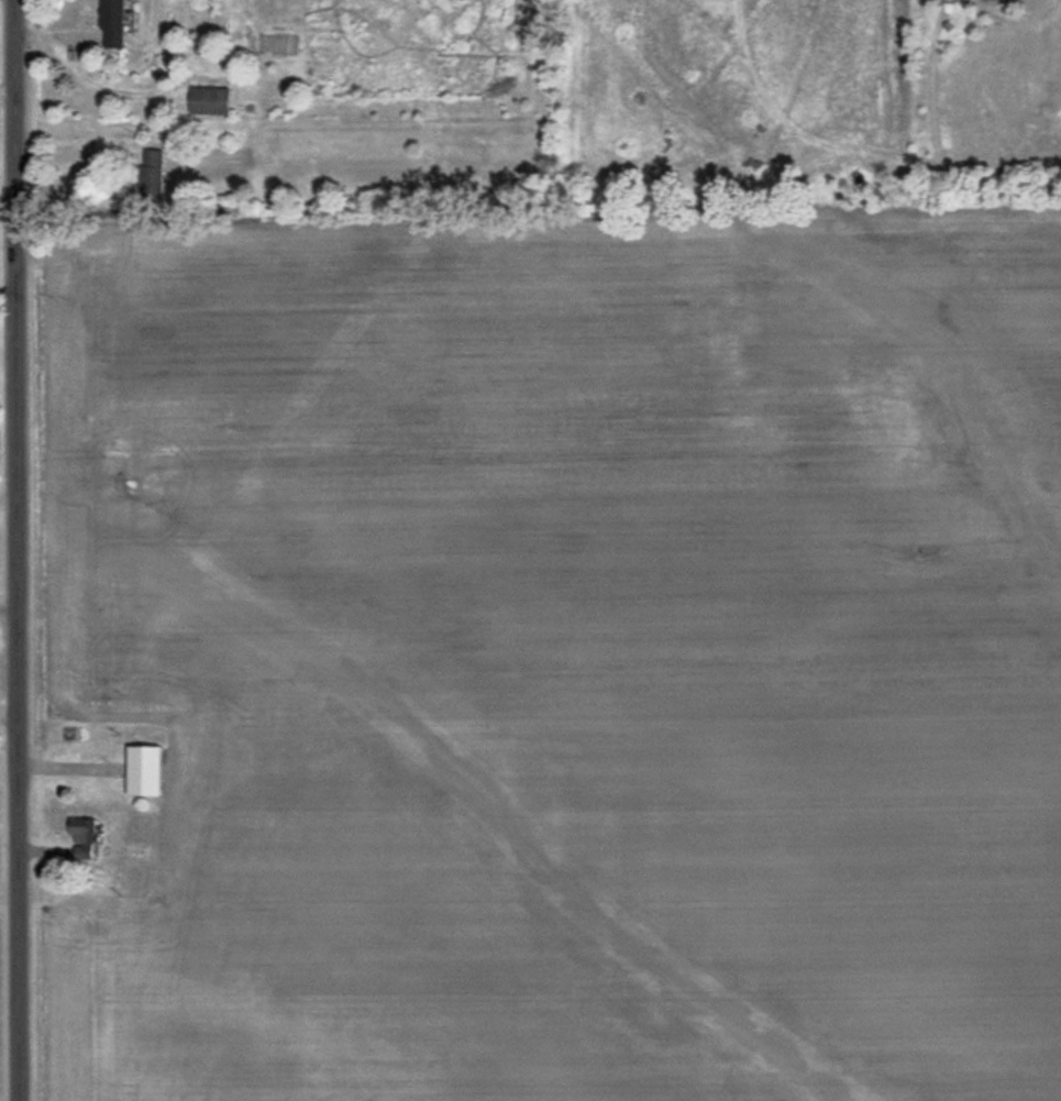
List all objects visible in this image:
road: (73, 155)
road: (12, 550)
building: (142, 768)
building: (81, 828)

